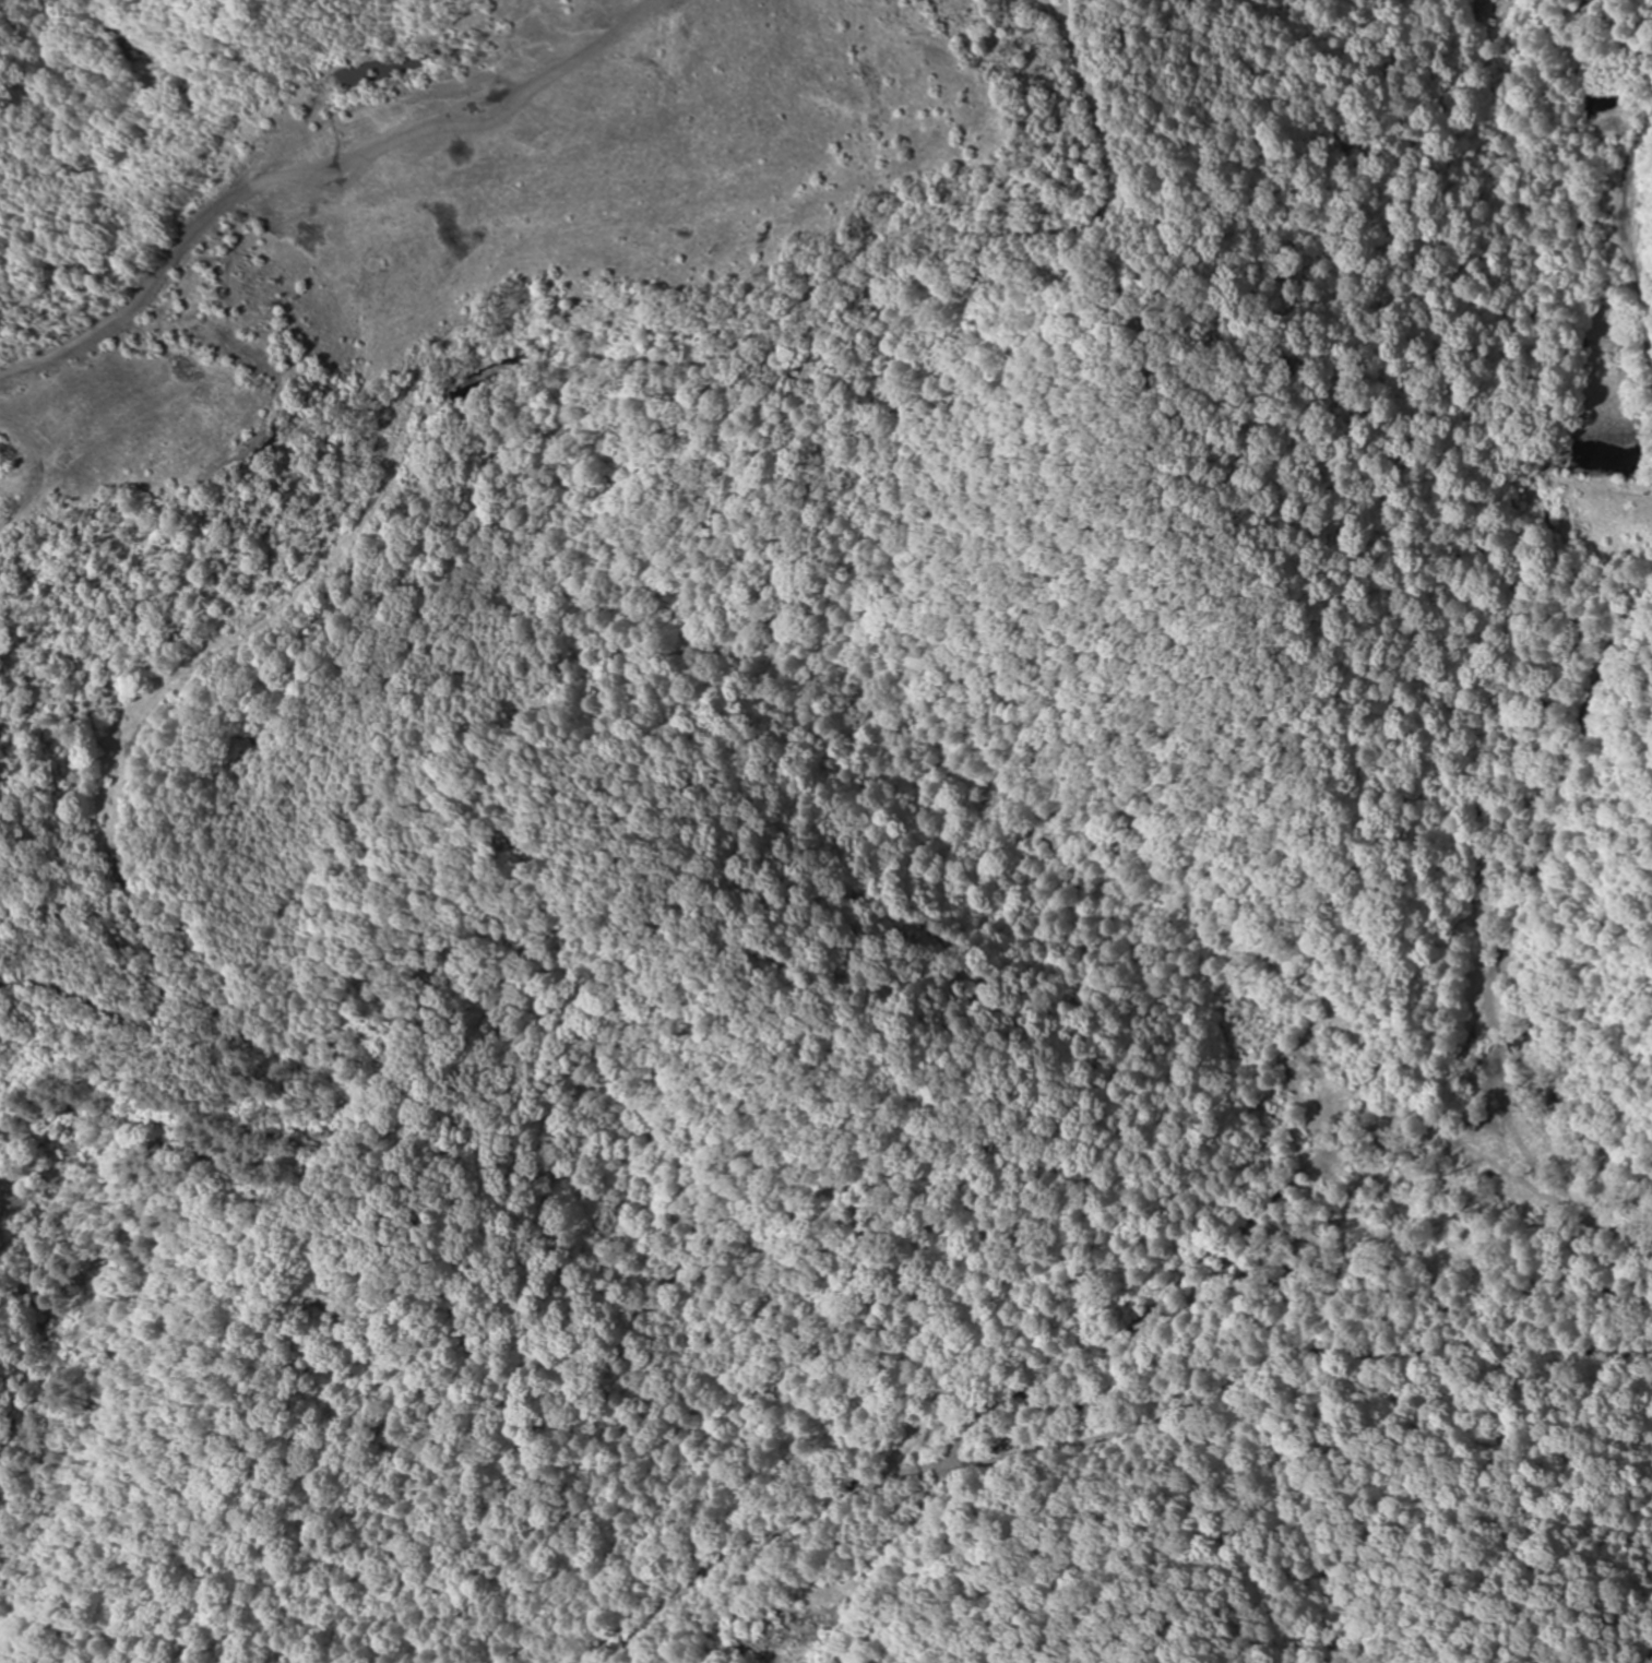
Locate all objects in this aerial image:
road: (1311, 1309)
road: (861, 1571)

